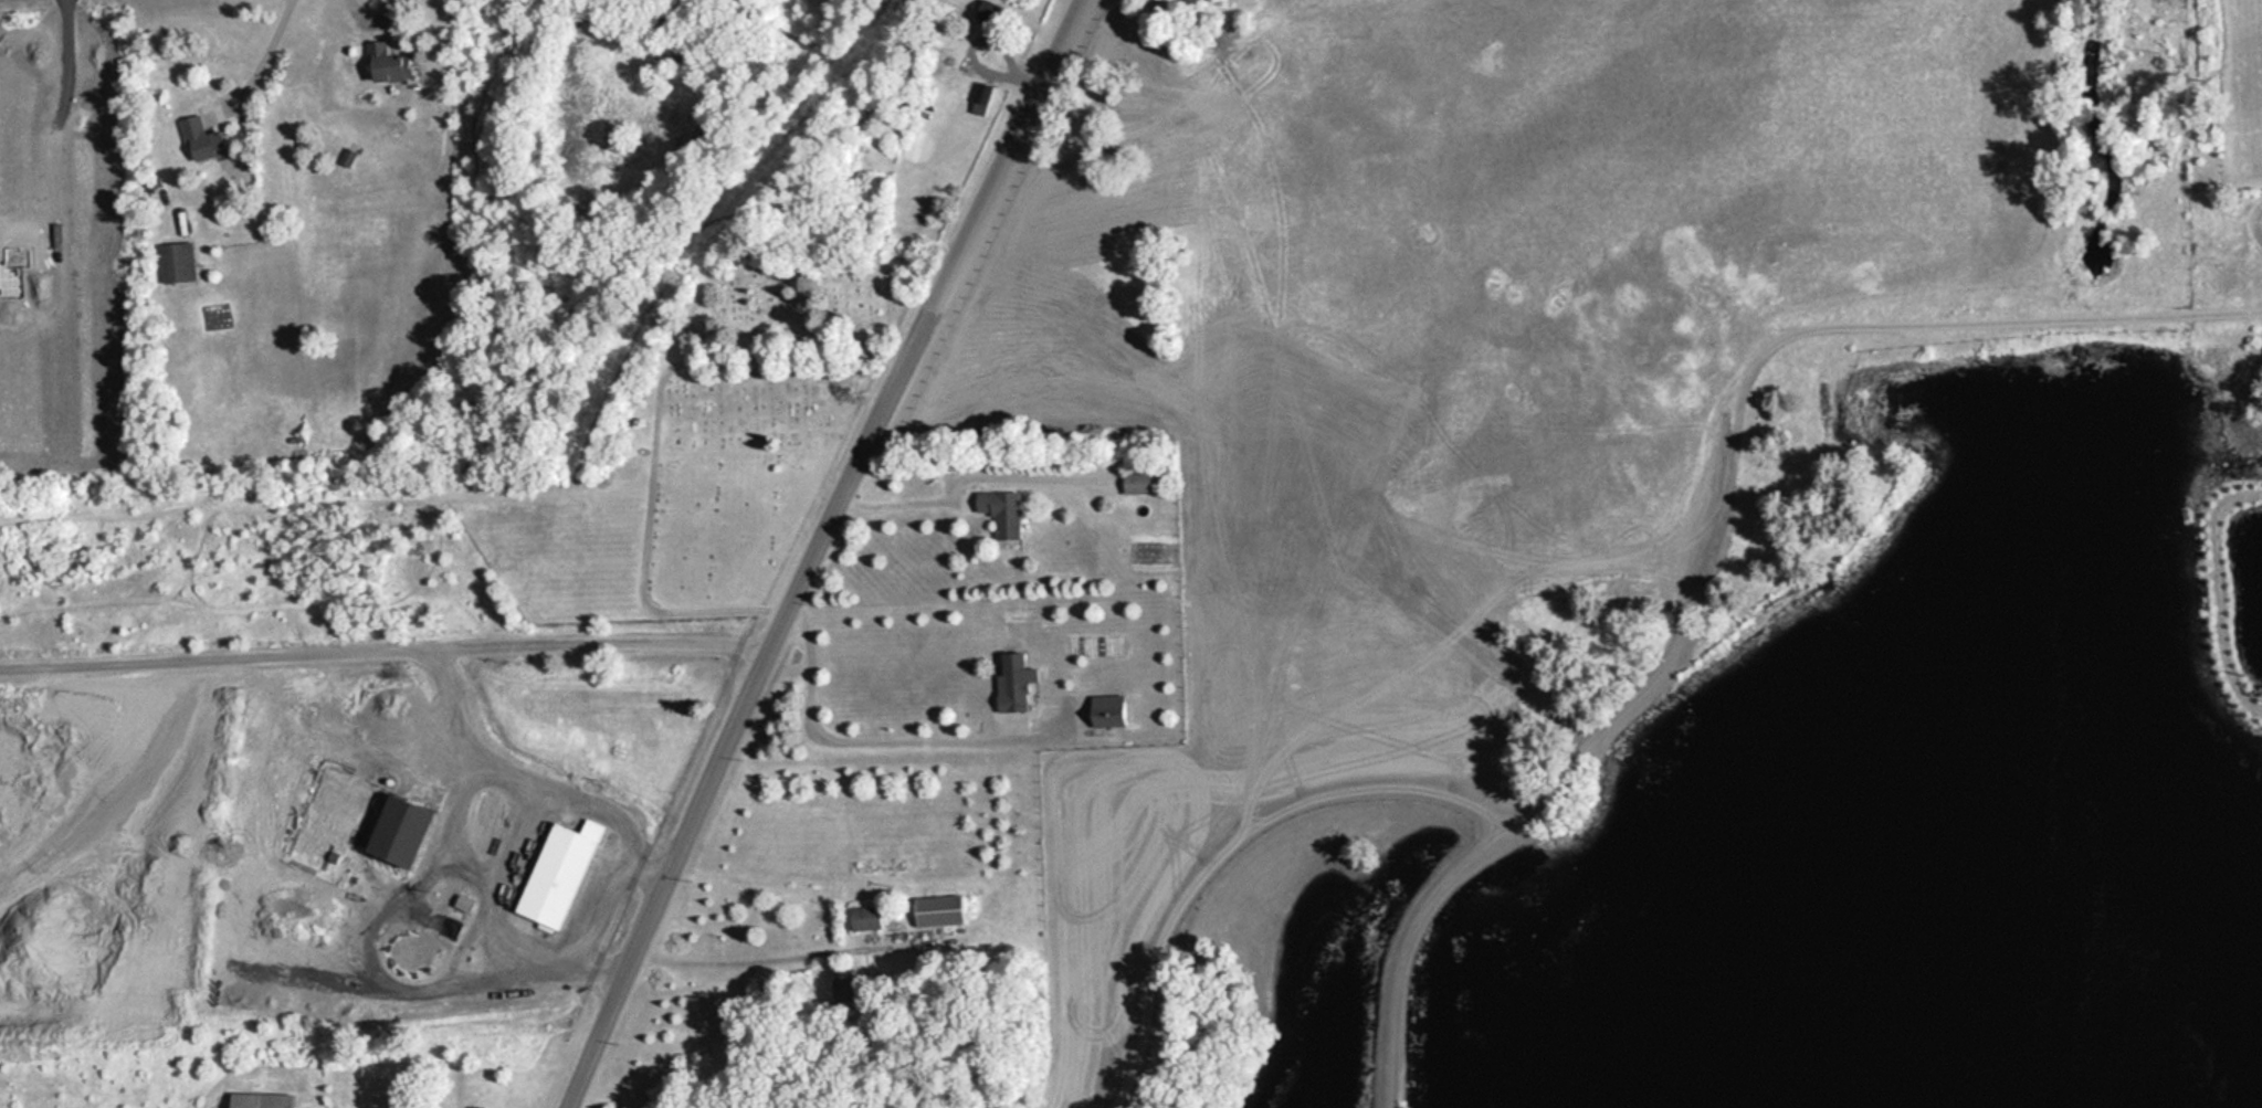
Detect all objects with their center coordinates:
building: (989, 13)
building: (380, 62)
building: (978, 98)
building: (1125, 115)
building: (207, 140)
road: (1004, 155)
building: (183, 263)
park: (659, 421)
building: (1132, 483)
building: (996, 511)
building: (1007, 682)
road: (738, 704)
building: (389, 833)
building: (553, 875)
building: (933, 911)
building: (860, 918)
building: (256, 1100)

